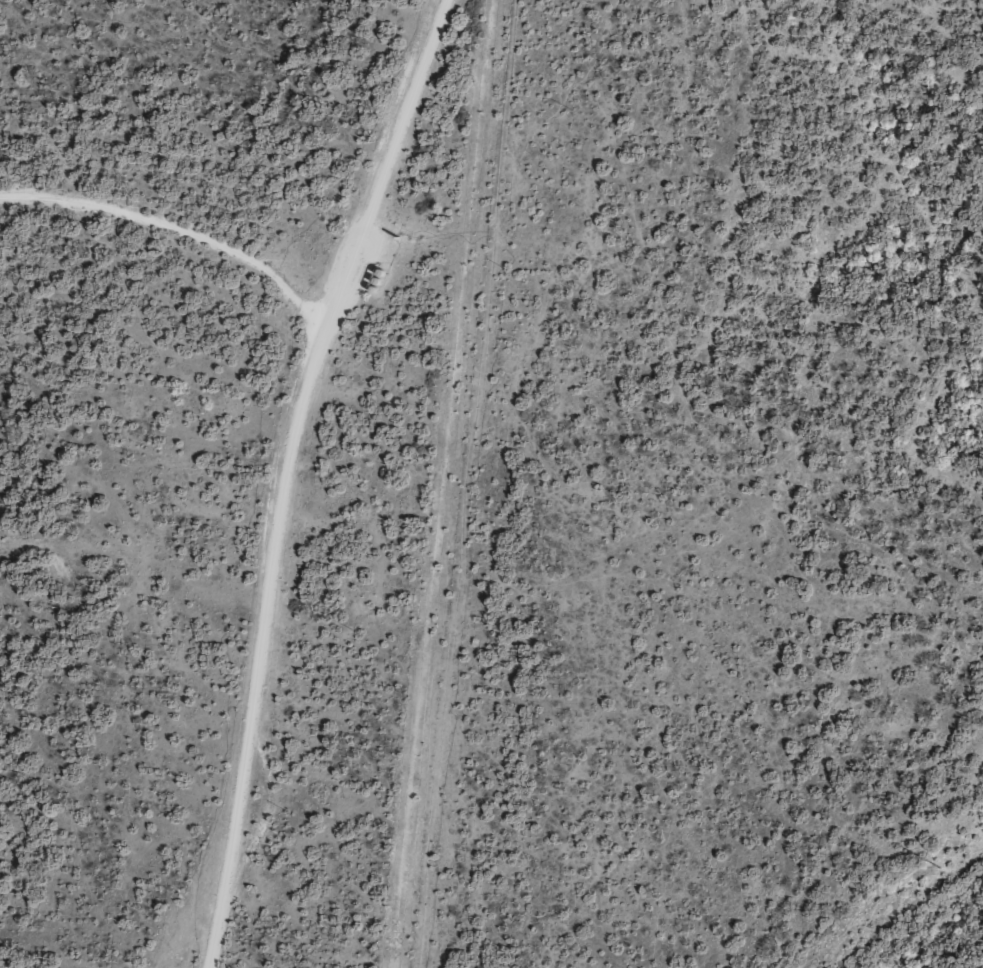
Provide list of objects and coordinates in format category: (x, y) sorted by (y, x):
road: (265, 282)
road: (297, 472)
power tower: (939, 868)

